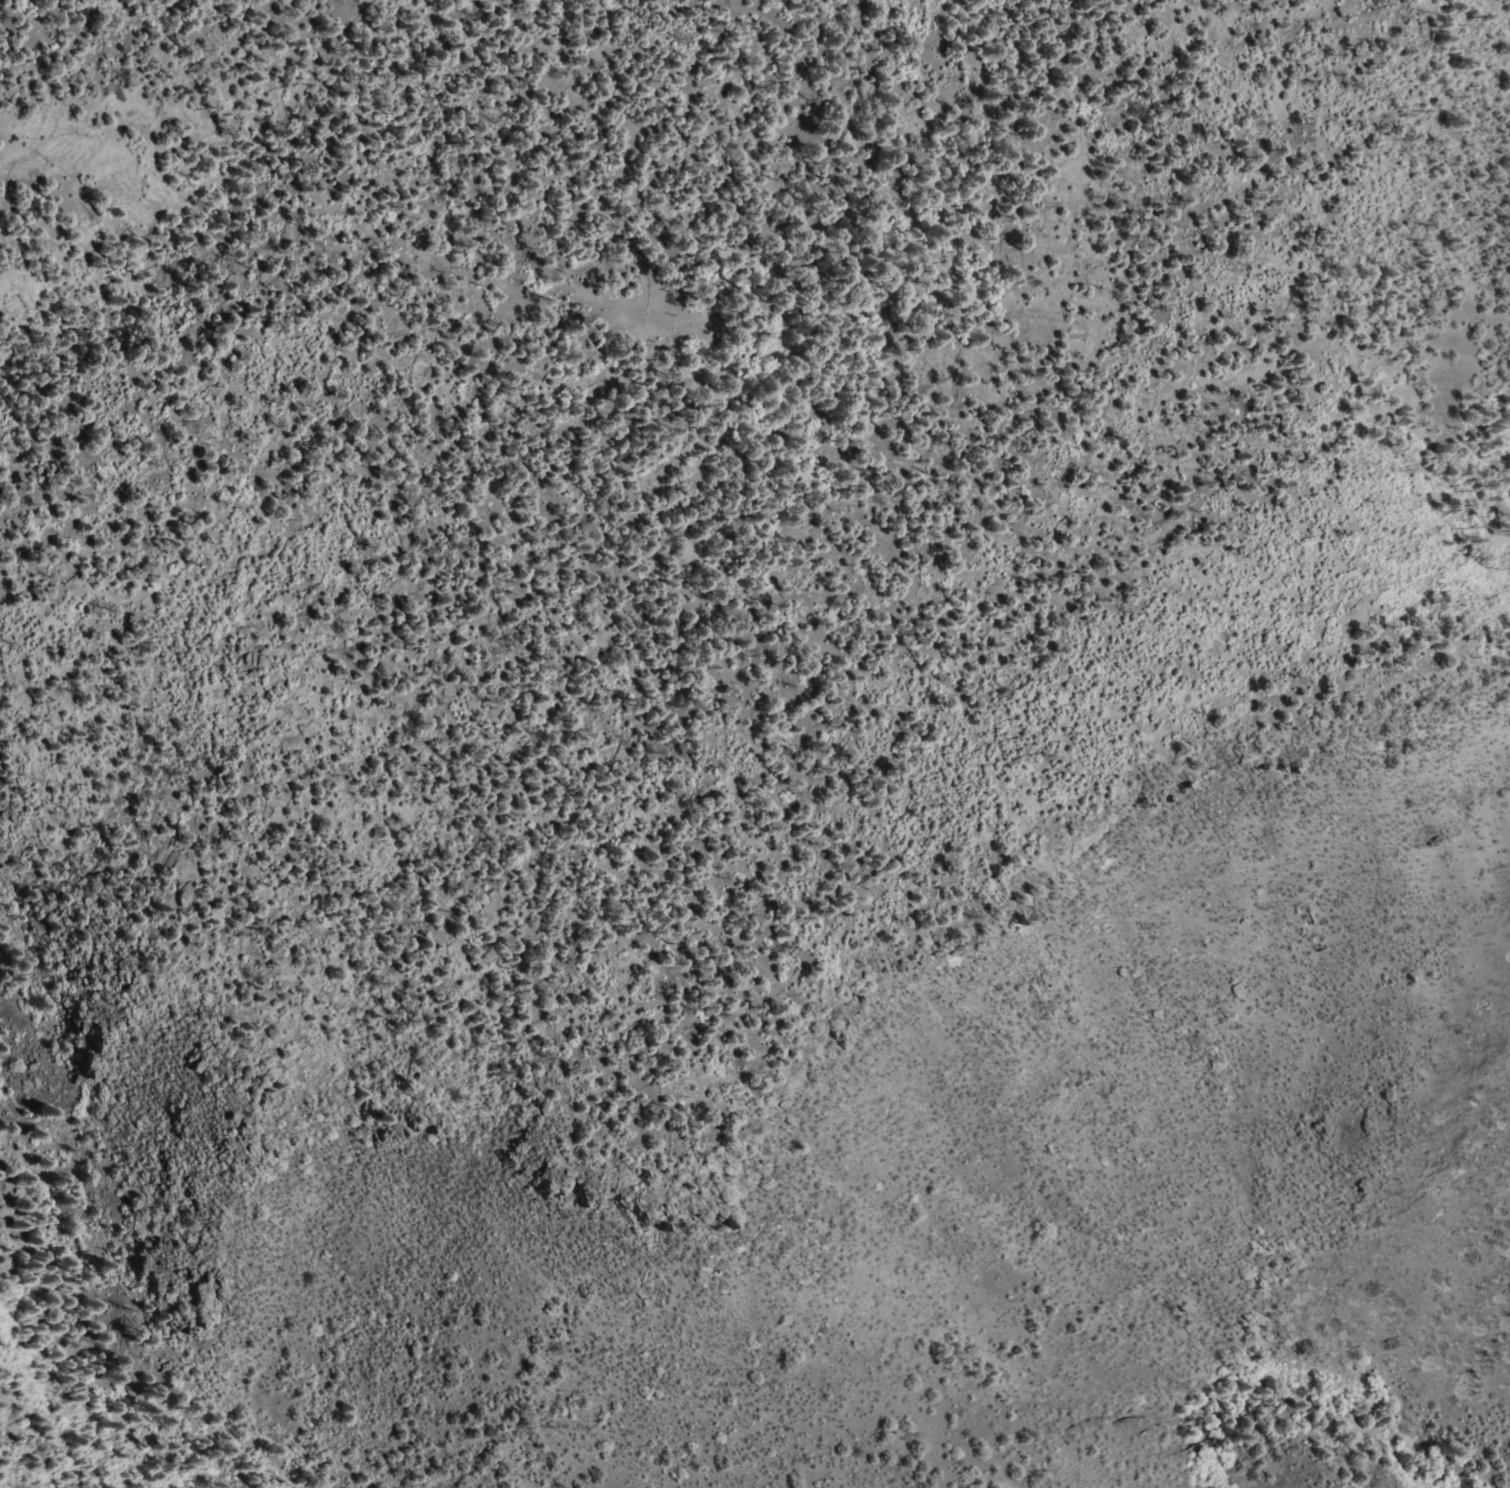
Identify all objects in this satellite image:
road: (143, 1312)

